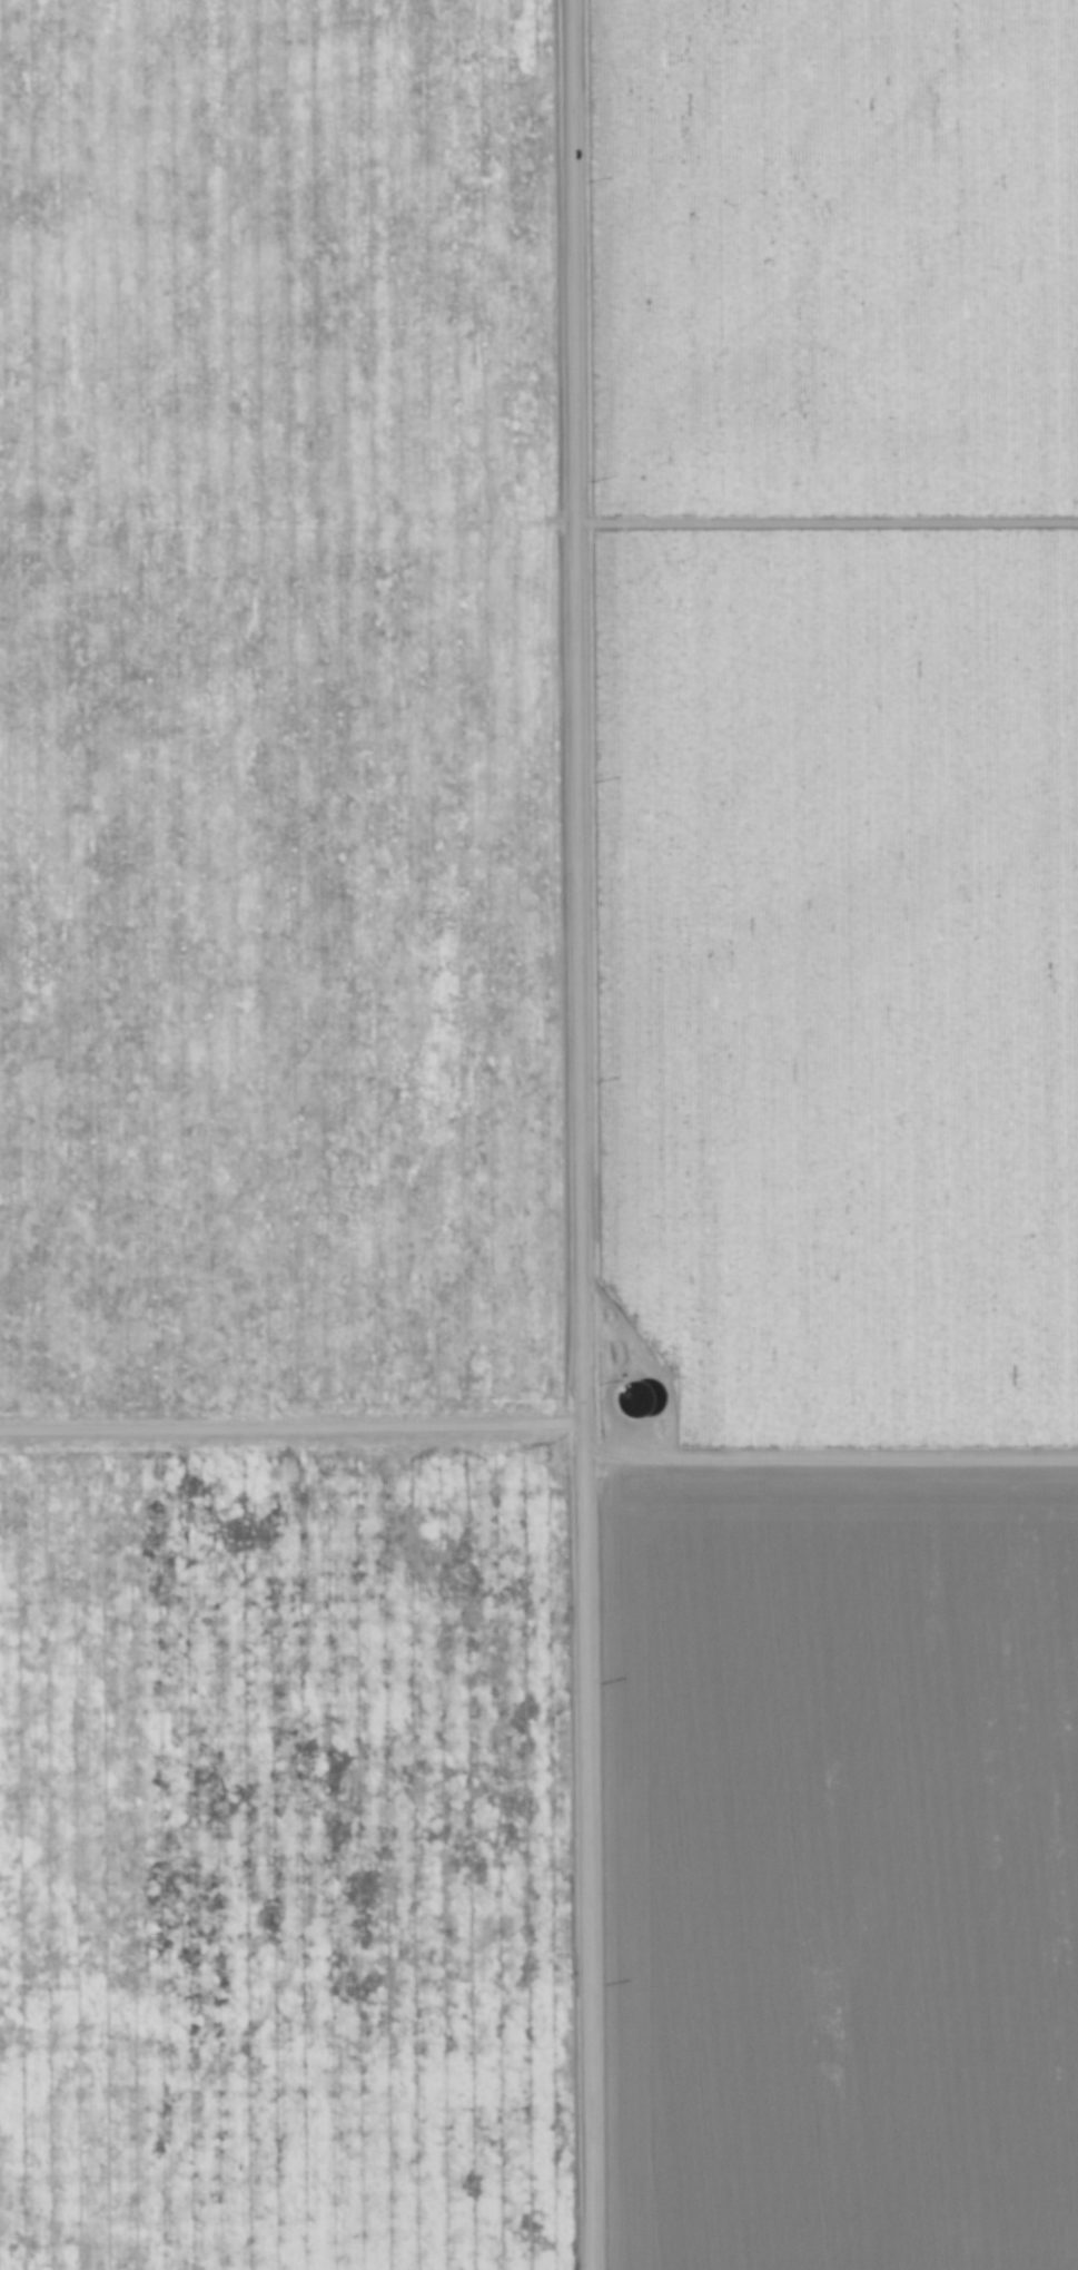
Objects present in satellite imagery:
crop: (827, 1121)
road: (580, 1134)
crop: (286, 1143)

